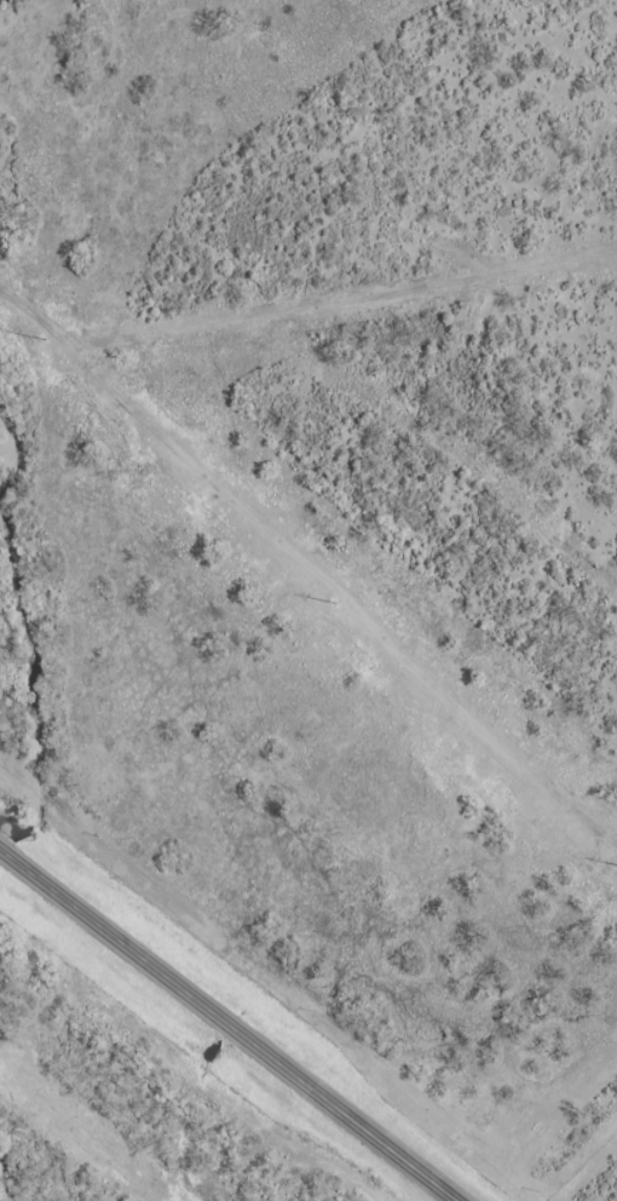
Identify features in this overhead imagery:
power tower: (39, 334)
power tower: (329, 599)
road: (229, 1028)

